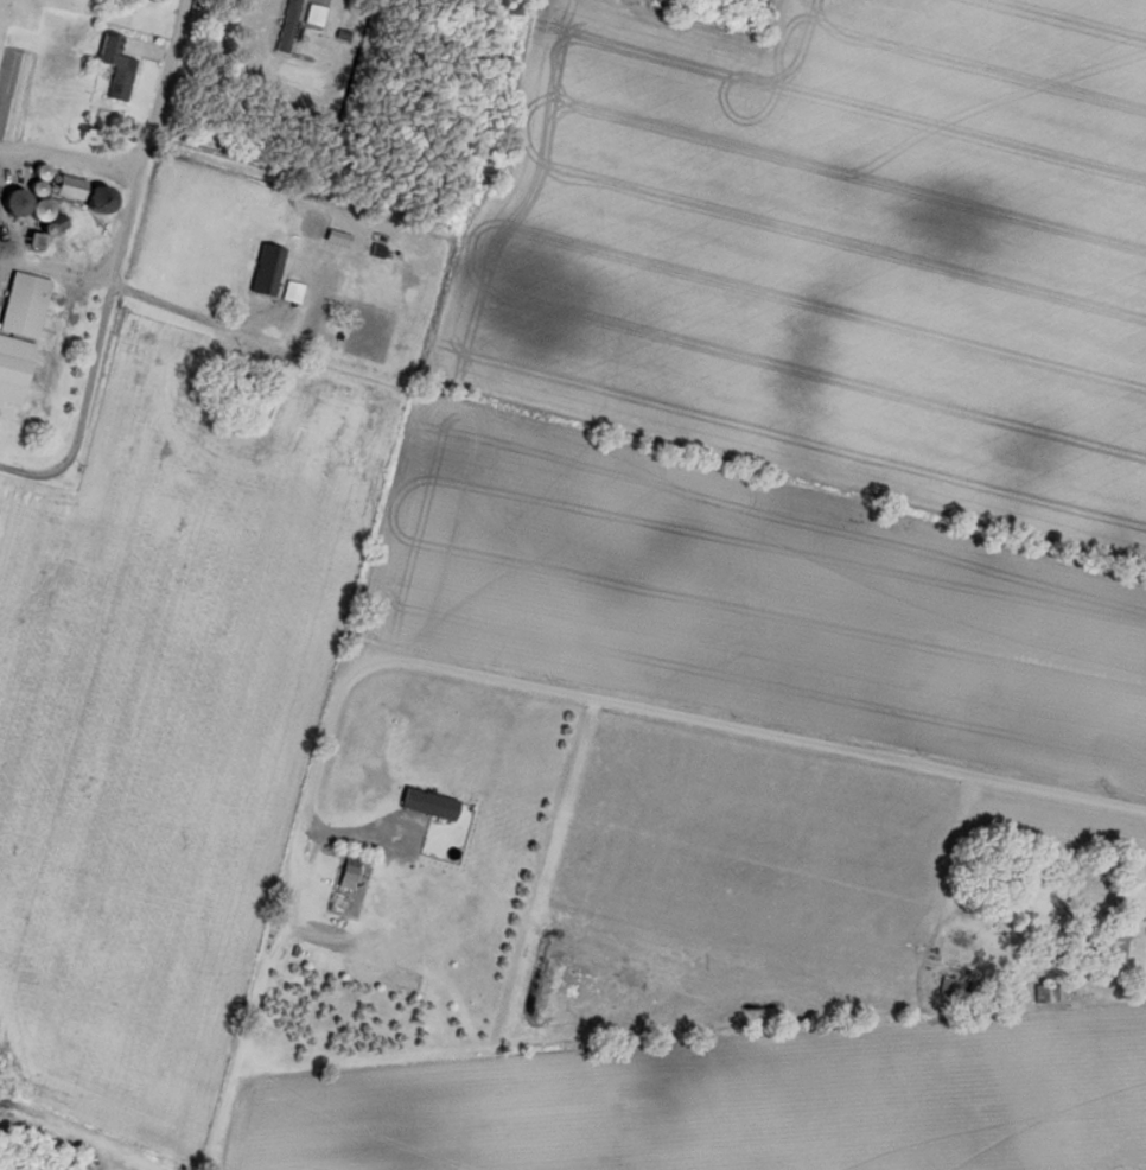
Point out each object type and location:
building: (112, 65)
road: (166, 70)
road: (82, 164)
road: (263, 185)
building: (63, 187)
building: (33, 209)
building: (93, 217)
building: (27, 242)
building: (222, 294)
building: (17, 329)
road: (96, 349)
building: (250, 379)
road: (769, 732)
building: (1106, 947)
road: (1140, 975)
building: (947, 986)

